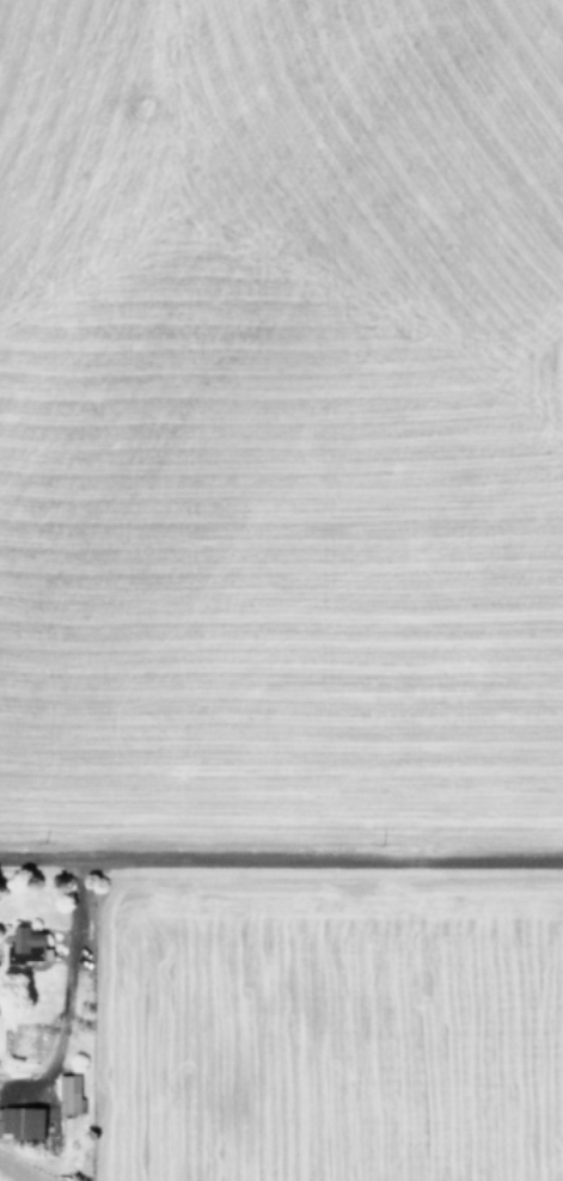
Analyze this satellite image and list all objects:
crop: (281, 405)
road: (281, 857)
building: (25, 946)
road: (66, 984)
crop: (281, 1046)
building: (67, 1094)
building: (22, 1121)

